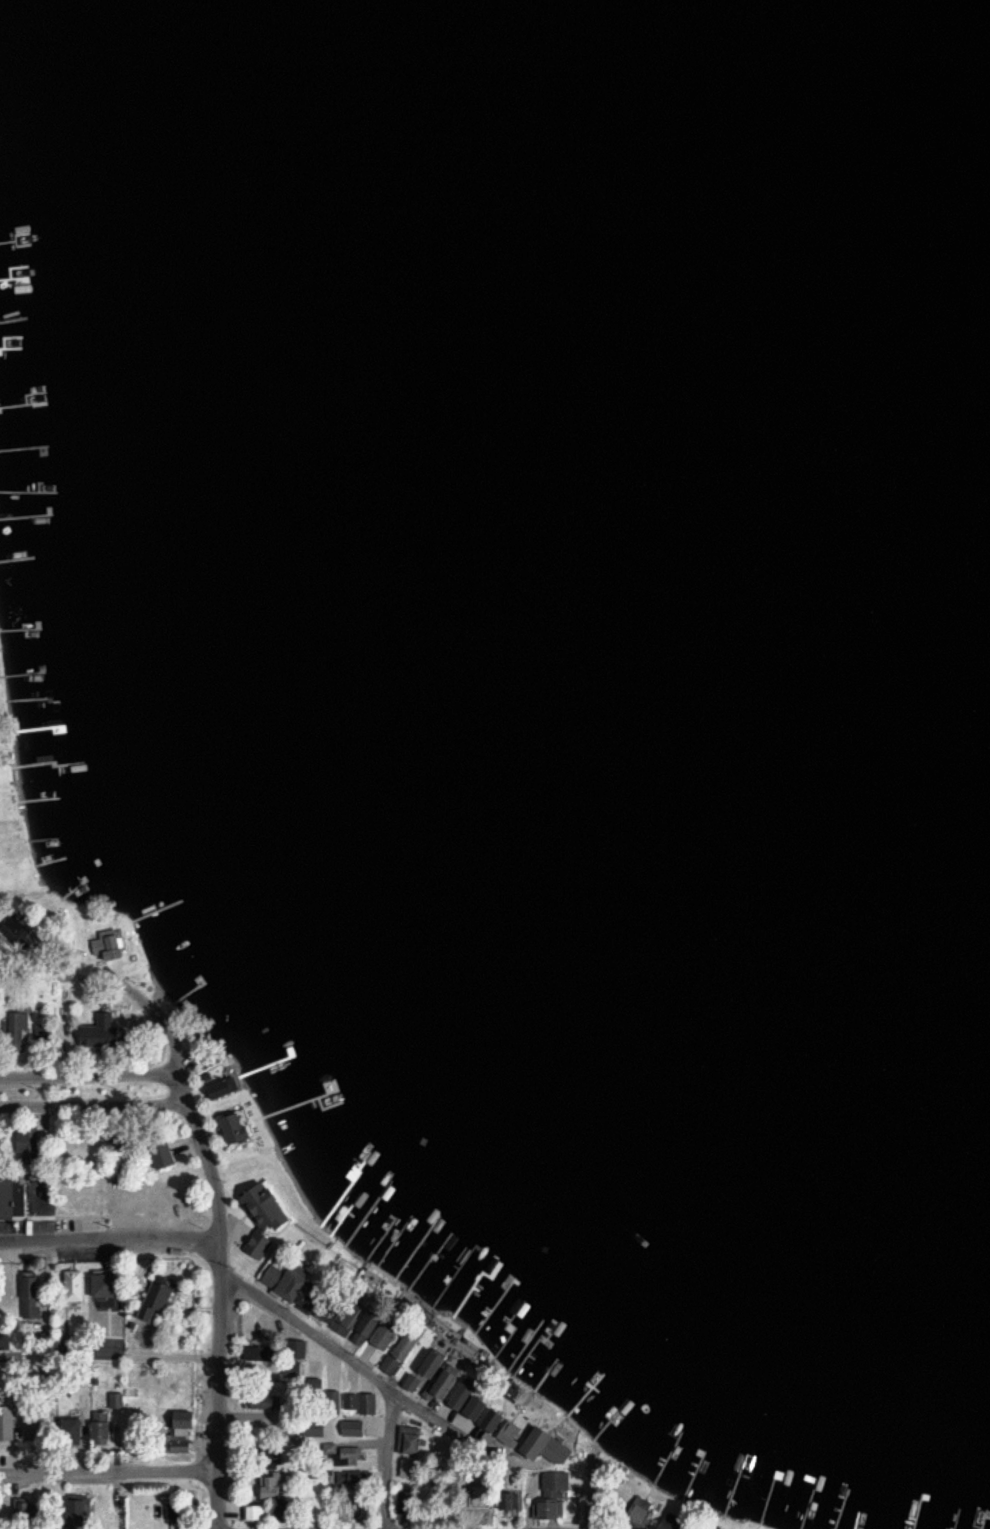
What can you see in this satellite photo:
building: (17, 931)
building: (110, 947)
road: (160, 1023)
building: (20, 1028)
building: (104, 1031)
building: (42, 1032)
road: (101, 1081)
building: (226, 1087)
road: (93, 1111)
building: (240, 1128)
building: (29, 1144)
building: (166, 1157)
building: (8, 1196)
building: (266, 1216)
road: (115, 1244)
building: (286, 1281)
building: (76, 1284)
building: (108, 1289)
building: (32, 1297)
building: (157, 1298)
building: (320, 1304)
road: (220, 1316)
building: (349, 1317)
building: (369, 1326)
building: (389, 1334)
building: (6, 1341)
building: (408, 1347)
building: (261, 1354)
building: (314, 1360)
building: (390, 1363)
building: (437, 1363)
road: (348, 1366)
building: (413, 1381)
building: (446, 1382)
building: (117, 1400)
building: (351, 1400)
building: (472, 1400)
building: (260, 1403)
building: (368, 1403)
building: (495, 1418)
building: (184, 1424)
building: (71, 1425)
building: (7, 1426)
building: (103, 1426)
building: (354, 1427)
building: (39, 1431)
building: (513, 1433)
building: (410, 1439)
building: (550, 1446)
building: (350, 1456)
road: (388, 1462)
building: (409, 1468)
road: (107, 1475)
building: (355, 1476)
building: (276, 1486)
building: (553, 1495)
building: (407, 1501)
building: (289, 1509)
building: (643, 1510)
building: (176, 1511)
building: (82, 1513)
building: (256, 1513)
building: (674, 1521)

